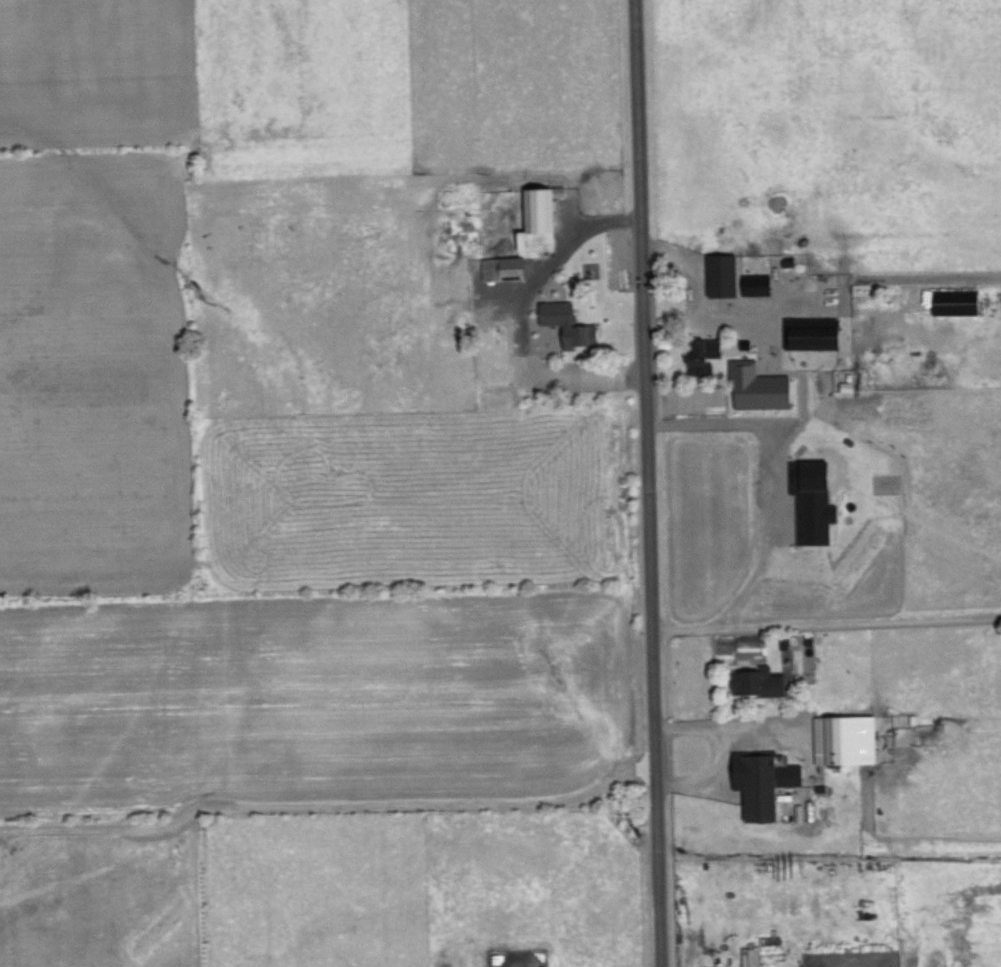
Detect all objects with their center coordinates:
building: (531, 235)
building: (726, 273)
building: (952, 300)
road: (520, 315)
building: (571, 322)
building: (815, 334)
building: (709, 354)
building: (762, 386)
road: (803, 406)
road: (655, 483)
building: (811, 500)
road: (830, 621)
building: (808, 640)
building: (783, 642)
building: (758, 681)
building: (848, 739)
building: (767, 782)
building: (752, 957)

